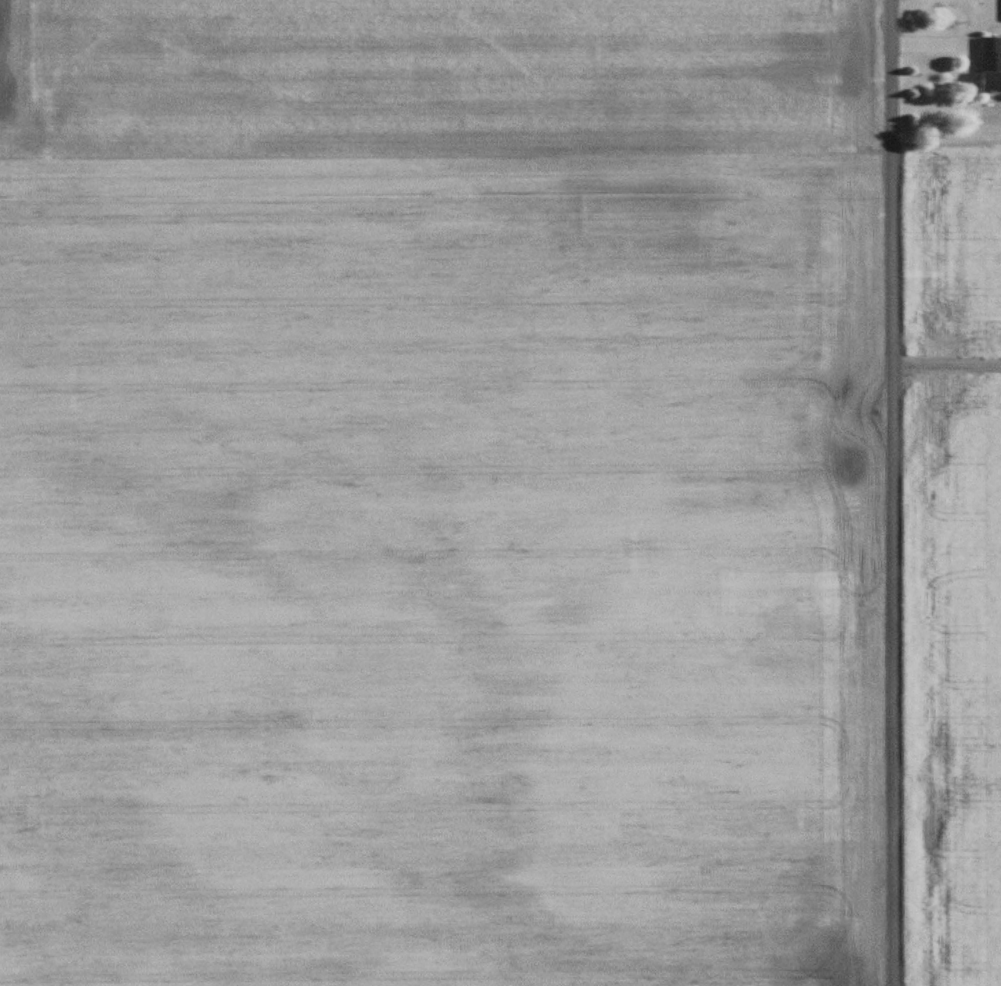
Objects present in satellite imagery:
building: (991, 65)
road: (943, 364)
road: (886, 492)

